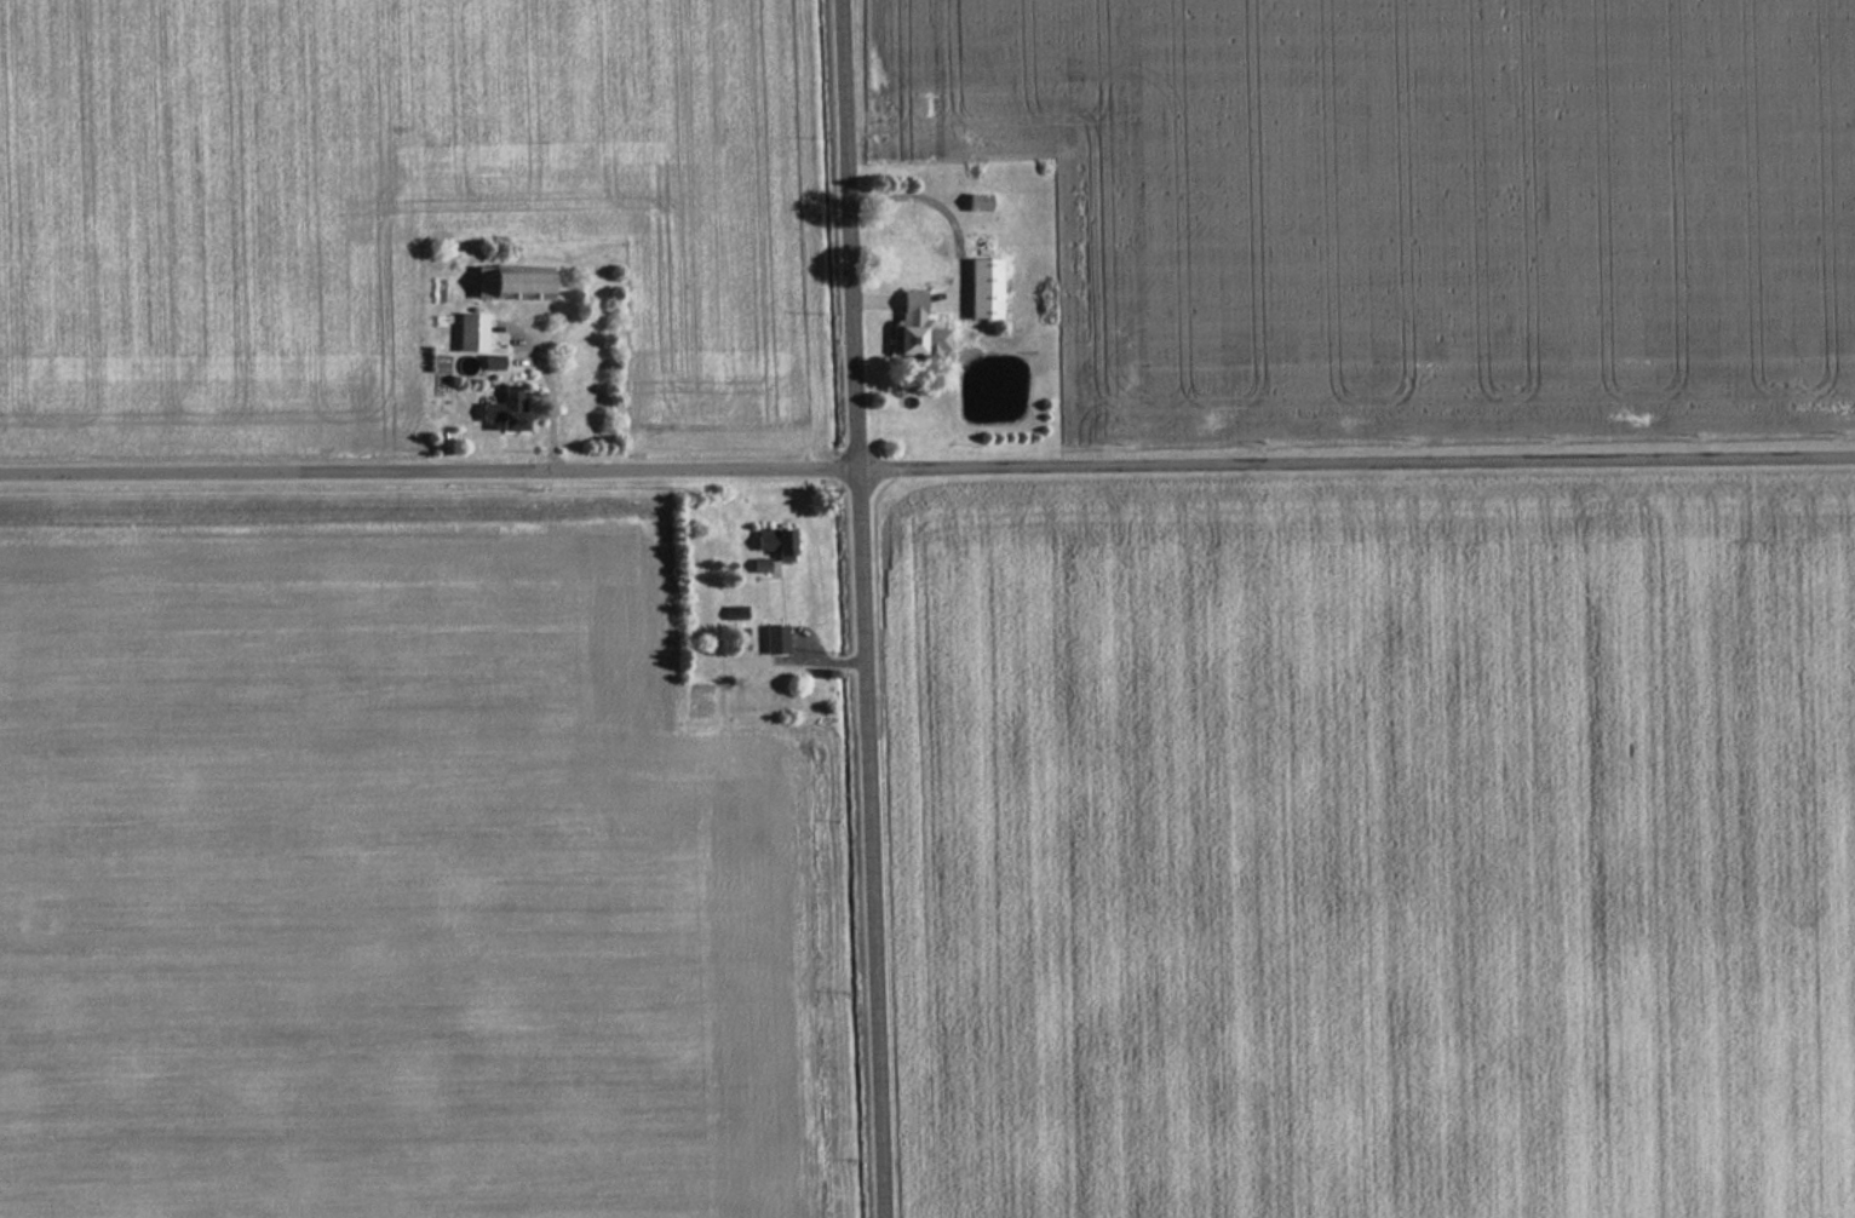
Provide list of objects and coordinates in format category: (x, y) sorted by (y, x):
crop: (378, 203)
crop: (1413, 205)
building: (506, 282)
building: (980, 288)
building: (913, 327)
building: (467, 332)
building: (499, 414)
road: (926, 470)
building: (779, 539)
road: (866, 609)
building: (731, 613)
building: (776, 638)
crop: (1382, 860)
crop: (389, 885)

